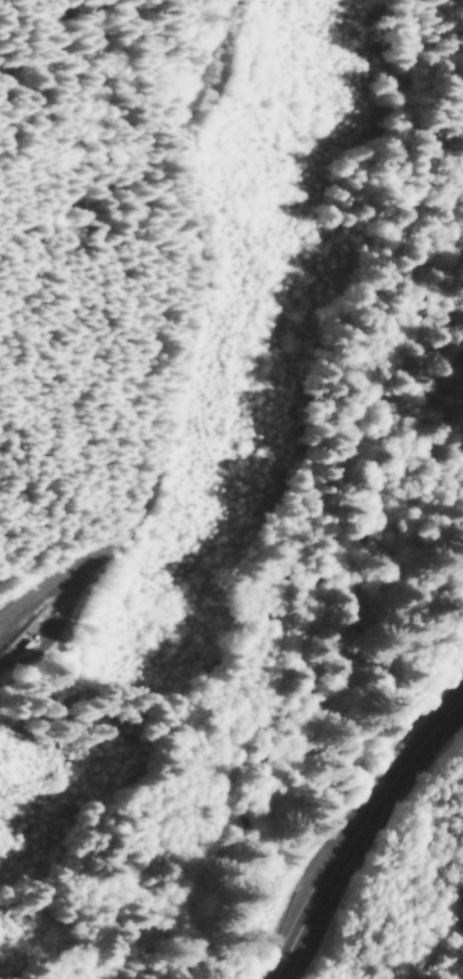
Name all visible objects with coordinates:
road: (172, 336)
road: (360, 834)

